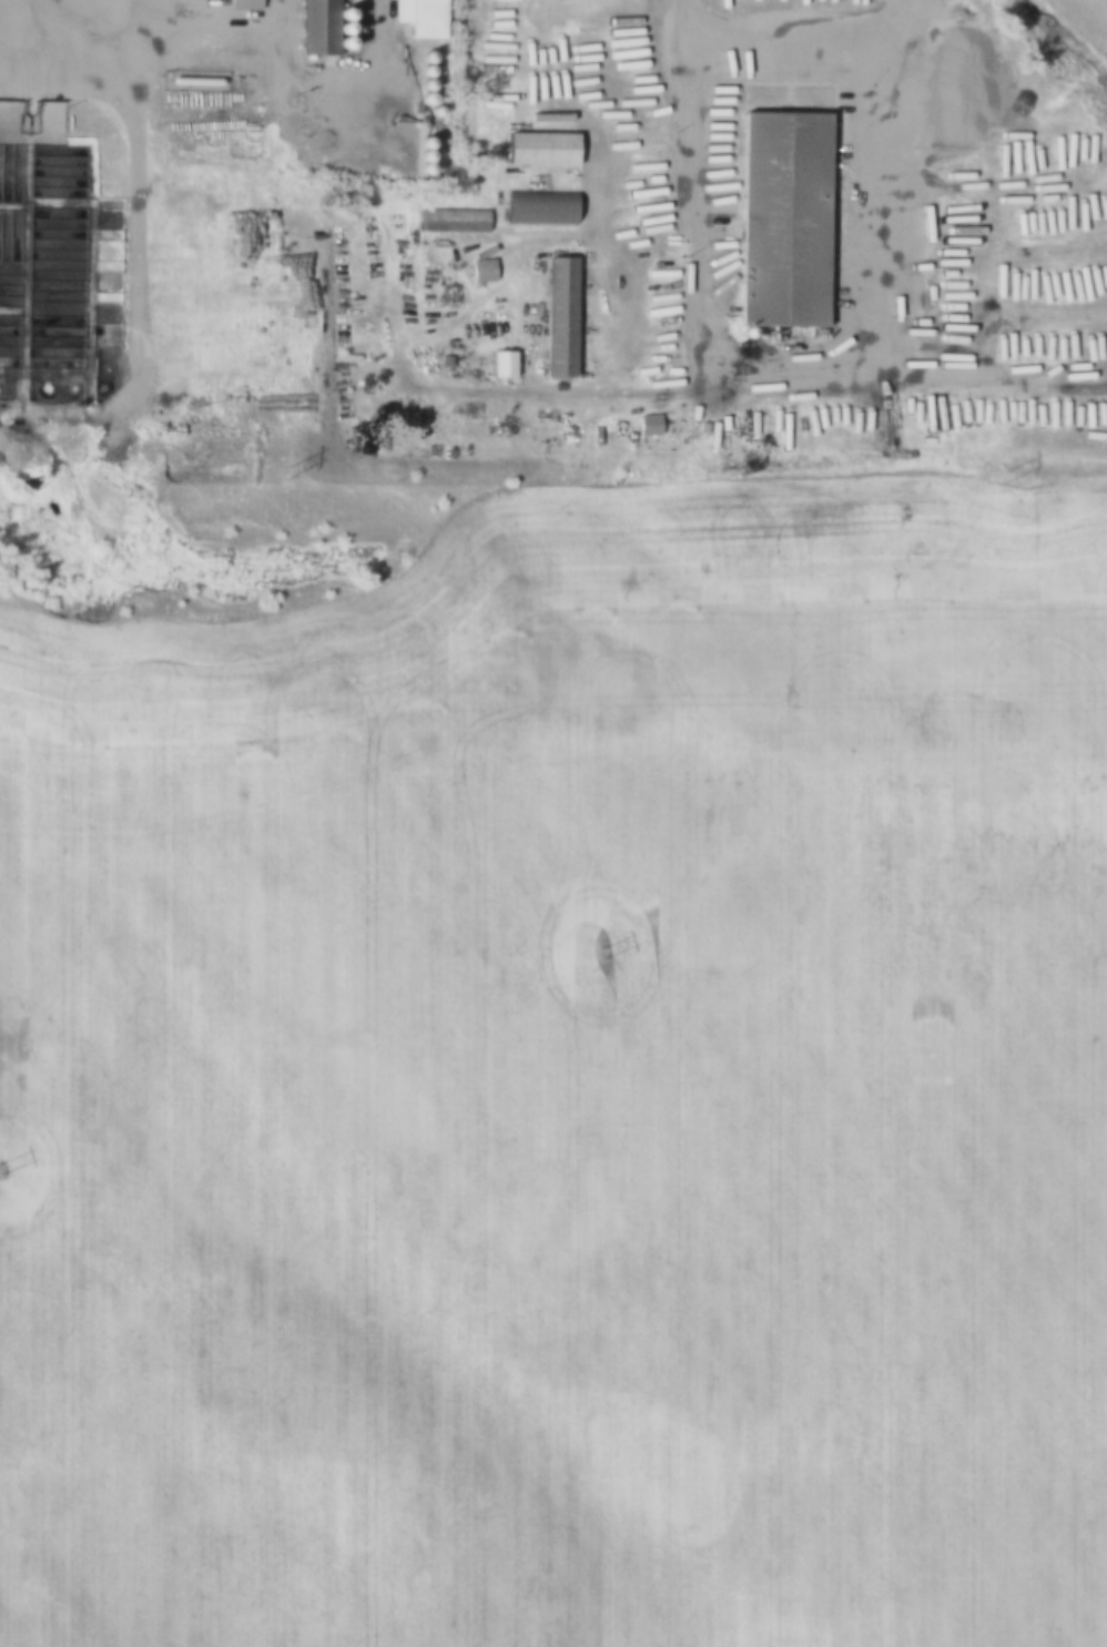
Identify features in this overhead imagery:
building: (248, 4)
building: (425, 16)
building: (317, 24)
building: (541, 144)
building: (539, 203)
building: (781, 211)
building: (458, 223)
road: (146, 257)
building: (487, 273)
building: (559, 313)
building: (501, 357)
road: (803, 368)
building: (653, 427)

